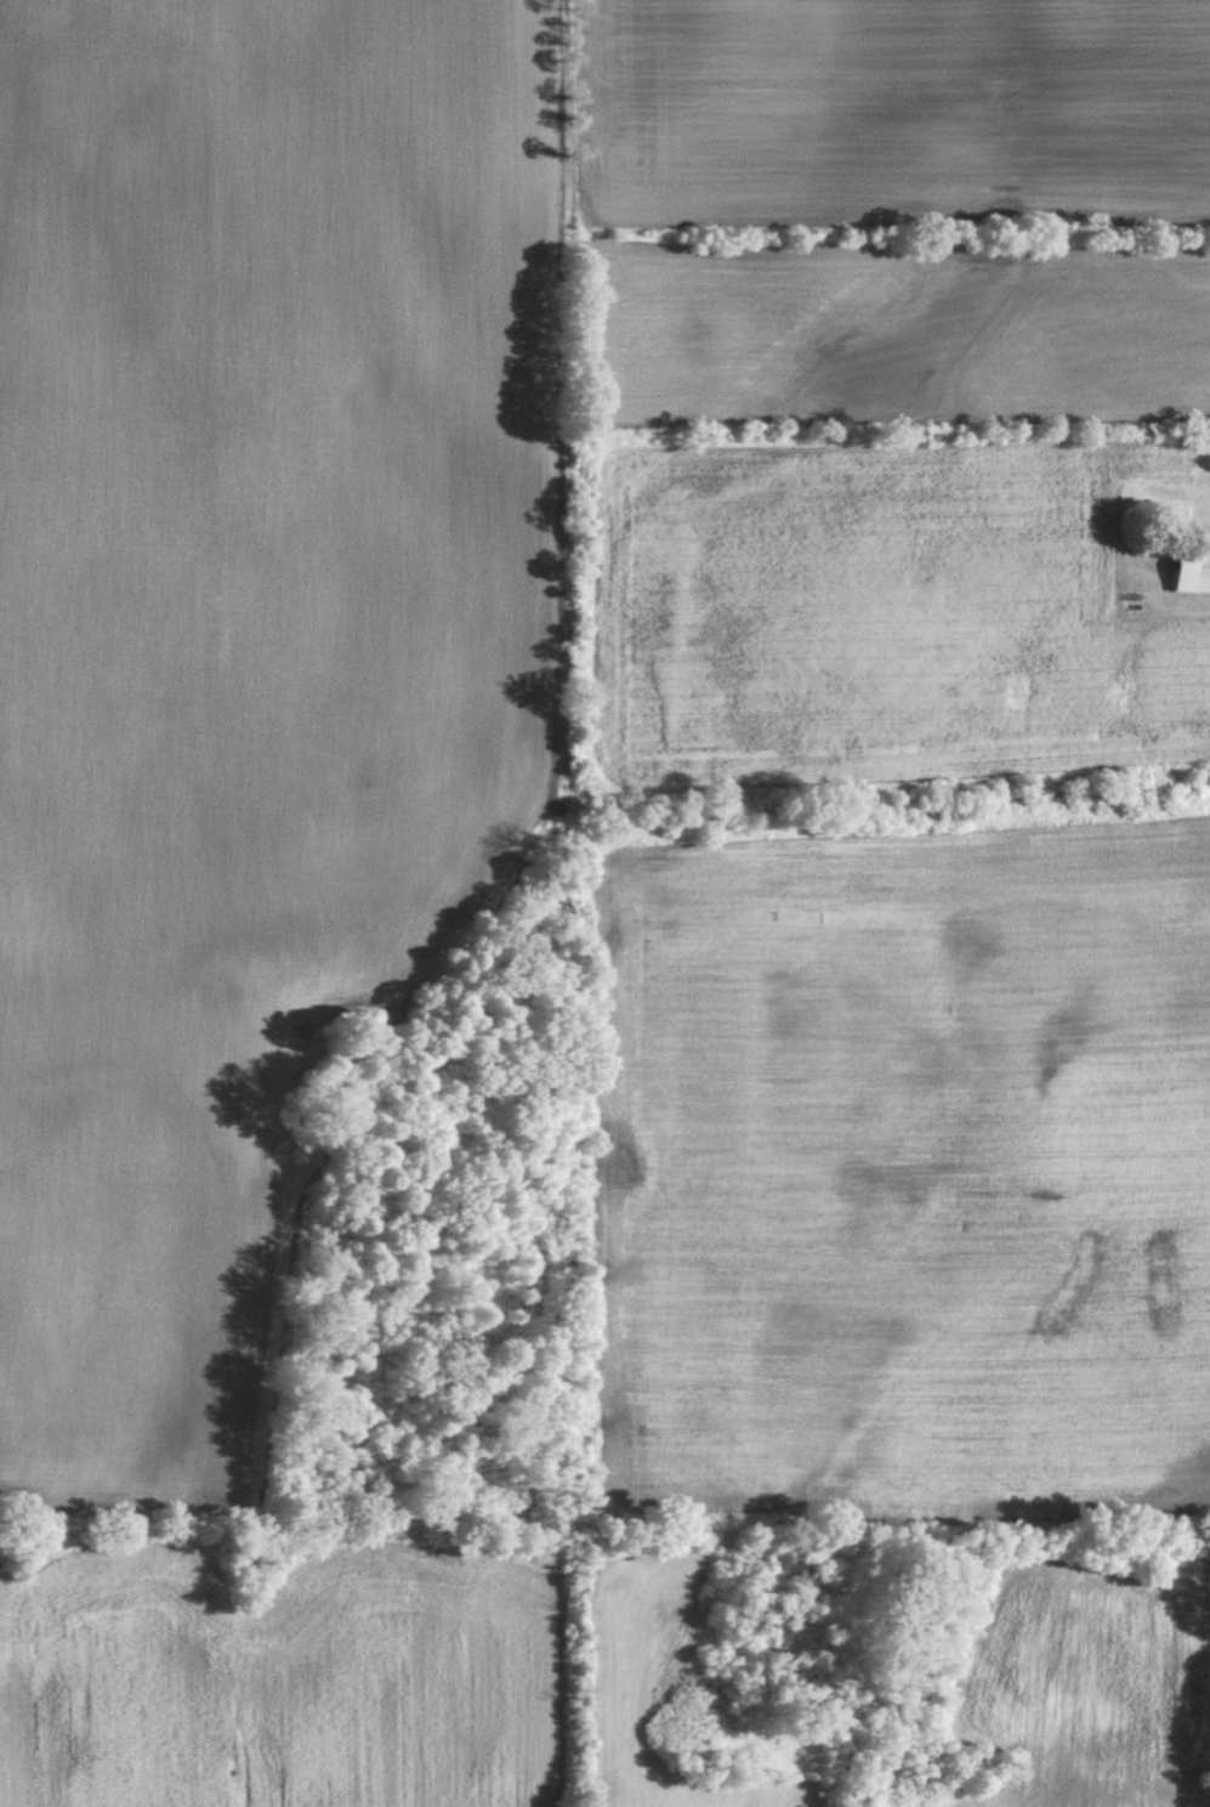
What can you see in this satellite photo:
building: (1195, 573)

